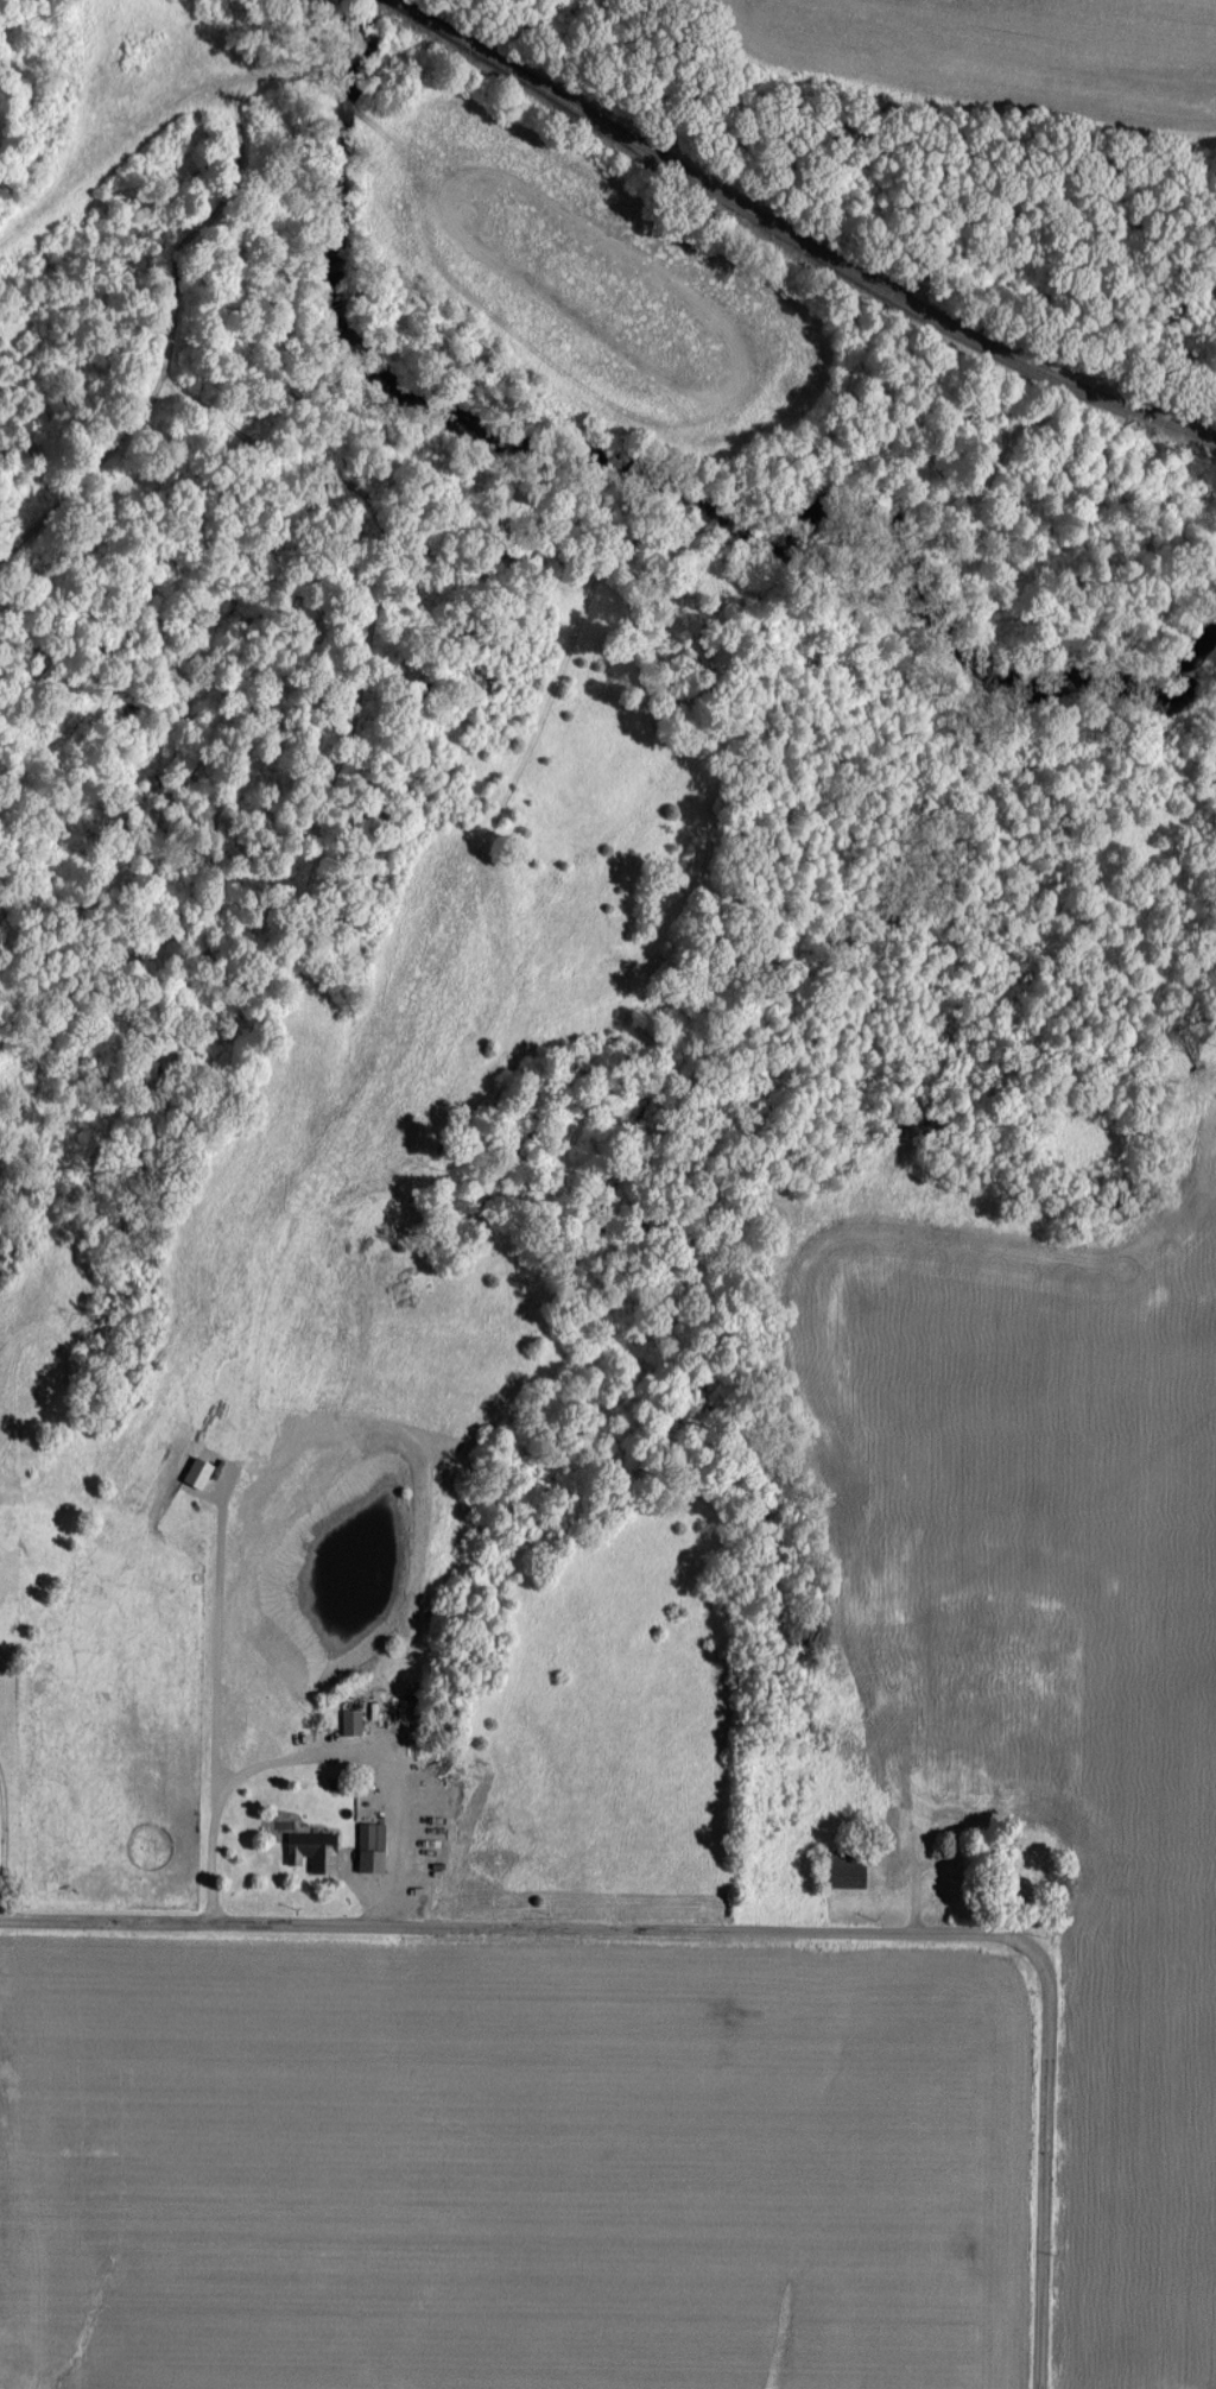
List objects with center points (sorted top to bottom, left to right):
railway: (799, 238)
building: (351, 1720)
road: (316, 1753)
building: (372, 1845)
building: (313, 1848)
road: (482, 1917)
road: (1045, 2154)

